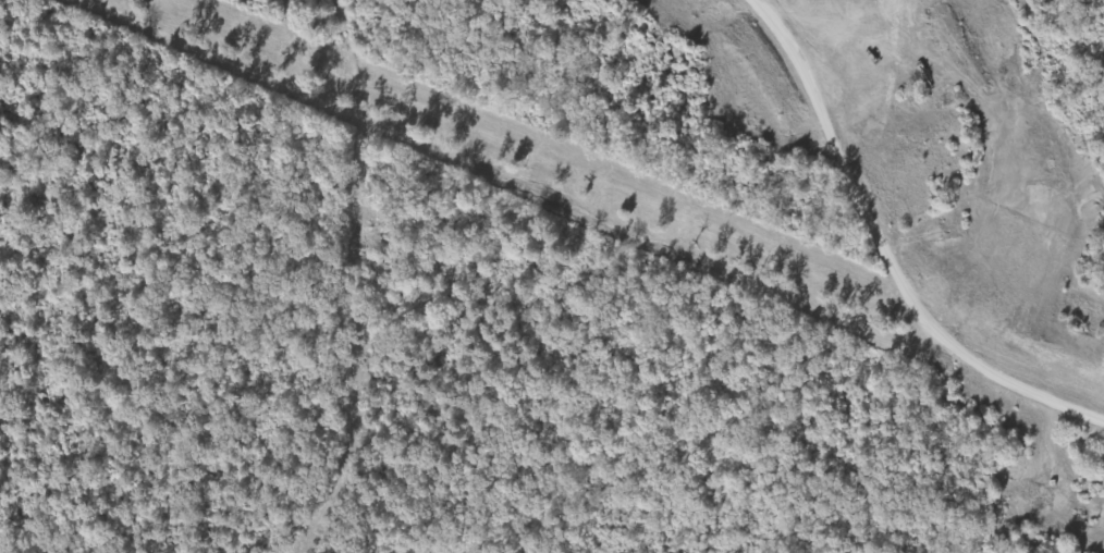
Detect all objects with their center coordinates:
road: (878, 254)

